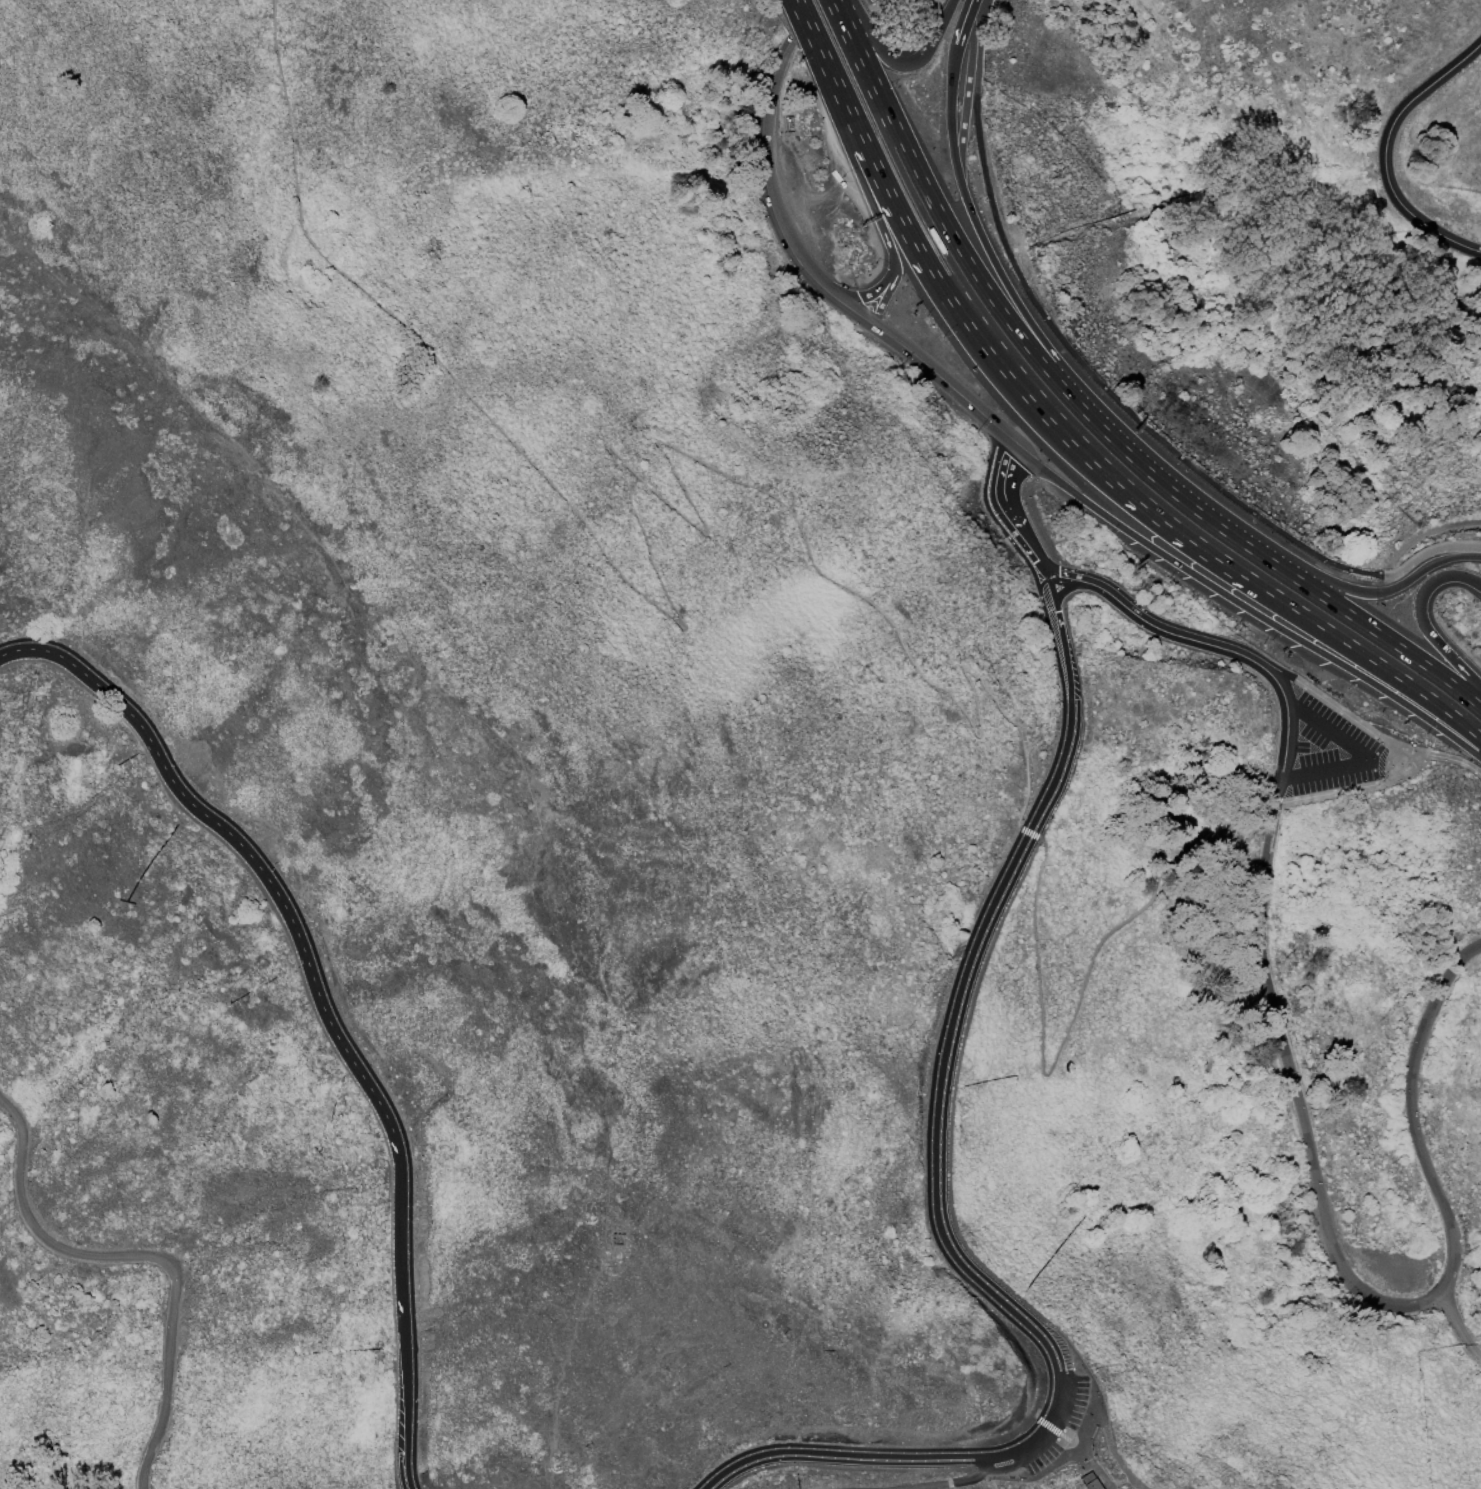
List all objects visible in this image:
road: (973, 2)
road: (973, 2)
road: (971, 9)
road: (963, 28)
road: (900, 63)
road: (865, 72)
road: (964, 99)
road: (949, 114)
road: (839, 132)
road: (1389, 152)
road: (817, 280)
road: (870, 291)
road: (884, 295)
road: (996, 308)
road: (1030, 324)
road: (1111, 395)
road: (1062, 437)
road: (611, 456)
road: (1182, 500)
road: (1008, 513)
road: (1424, 533)
road: (1058, 587)
road: (1363, 591)
road: (1244, 606)
road: (1420, 618)
road: (1152, 624)
road: (1364, 624)
road: (1280, 685)
road: (1336, 707)
road: (1070, 708)
road: (1331, 730)
road: (1286, 743)
parking lot: (1329, 749)
road: (1440, 755)
road: (1387, 758)
road: (1326, 770)
road: (1477, 770)
road: (1474, 773)
road: (1279, 788)
road: (1348, 789)
road: (1273, 813)
road: (1023, 828)
road: (1025, 864)
road: (327, 997)
road: (1070, 1015)
building: (617, 1238)
road: (144, 1257)
road: (1355, 1282)
road: (1001, 1298)
road: (1459, 1324)
parking lot: (1078, 1402)
road: (1078, 1447)
parking lot: (1043, 1458)
road: (1123, 1469)
building: (1087, 1477)
road: (1127, 1478)
road: (954, 1480)
building: (1093, 1484)
road: (1112, 1486)

